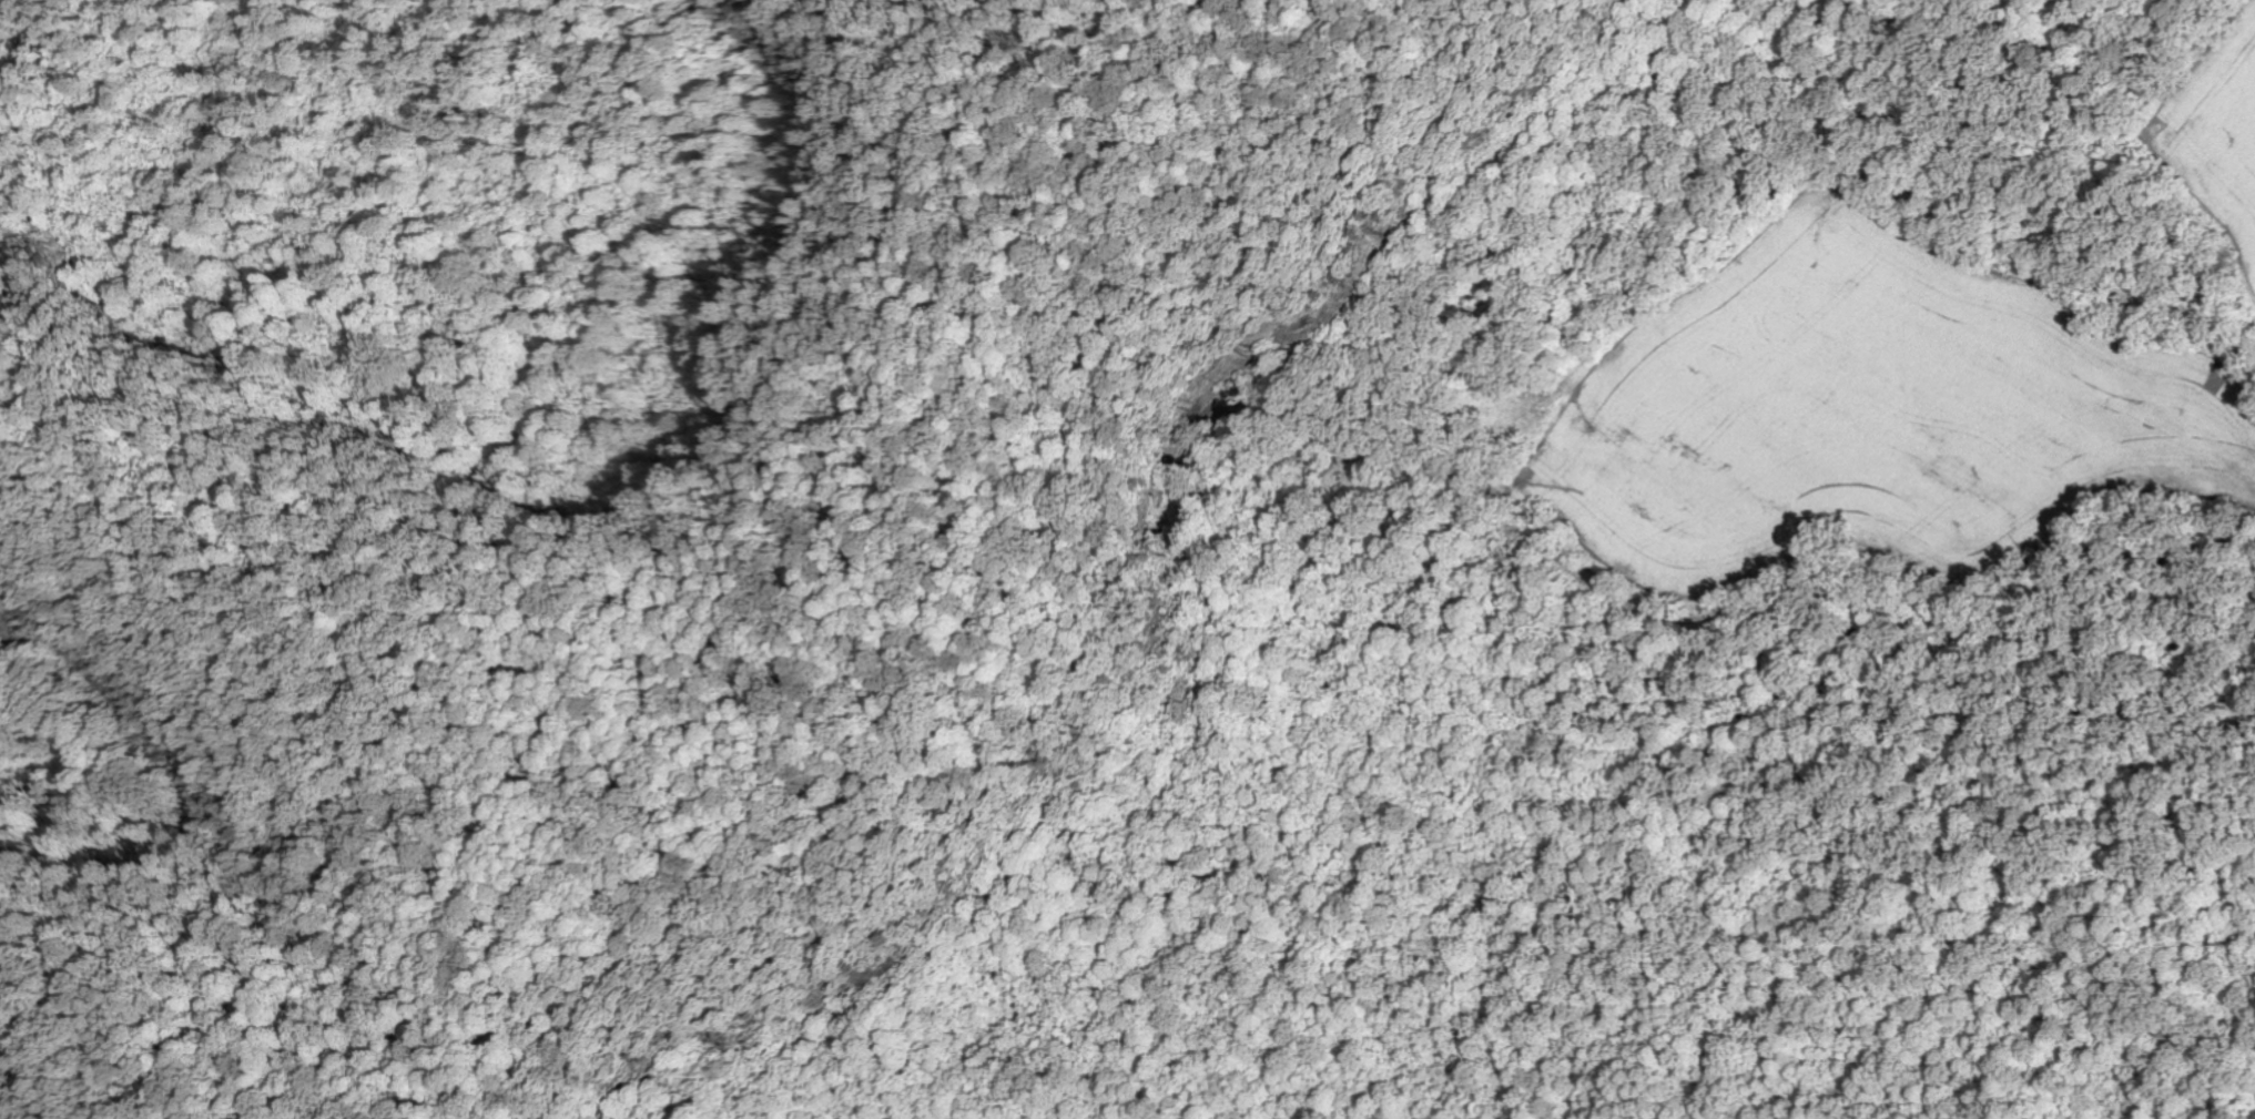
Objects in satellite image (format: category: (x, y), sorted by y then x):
road: (1128, 113)
road: (372, 602)
road: (886, 680)
road: (150, 769)
road: (145, 1017)

